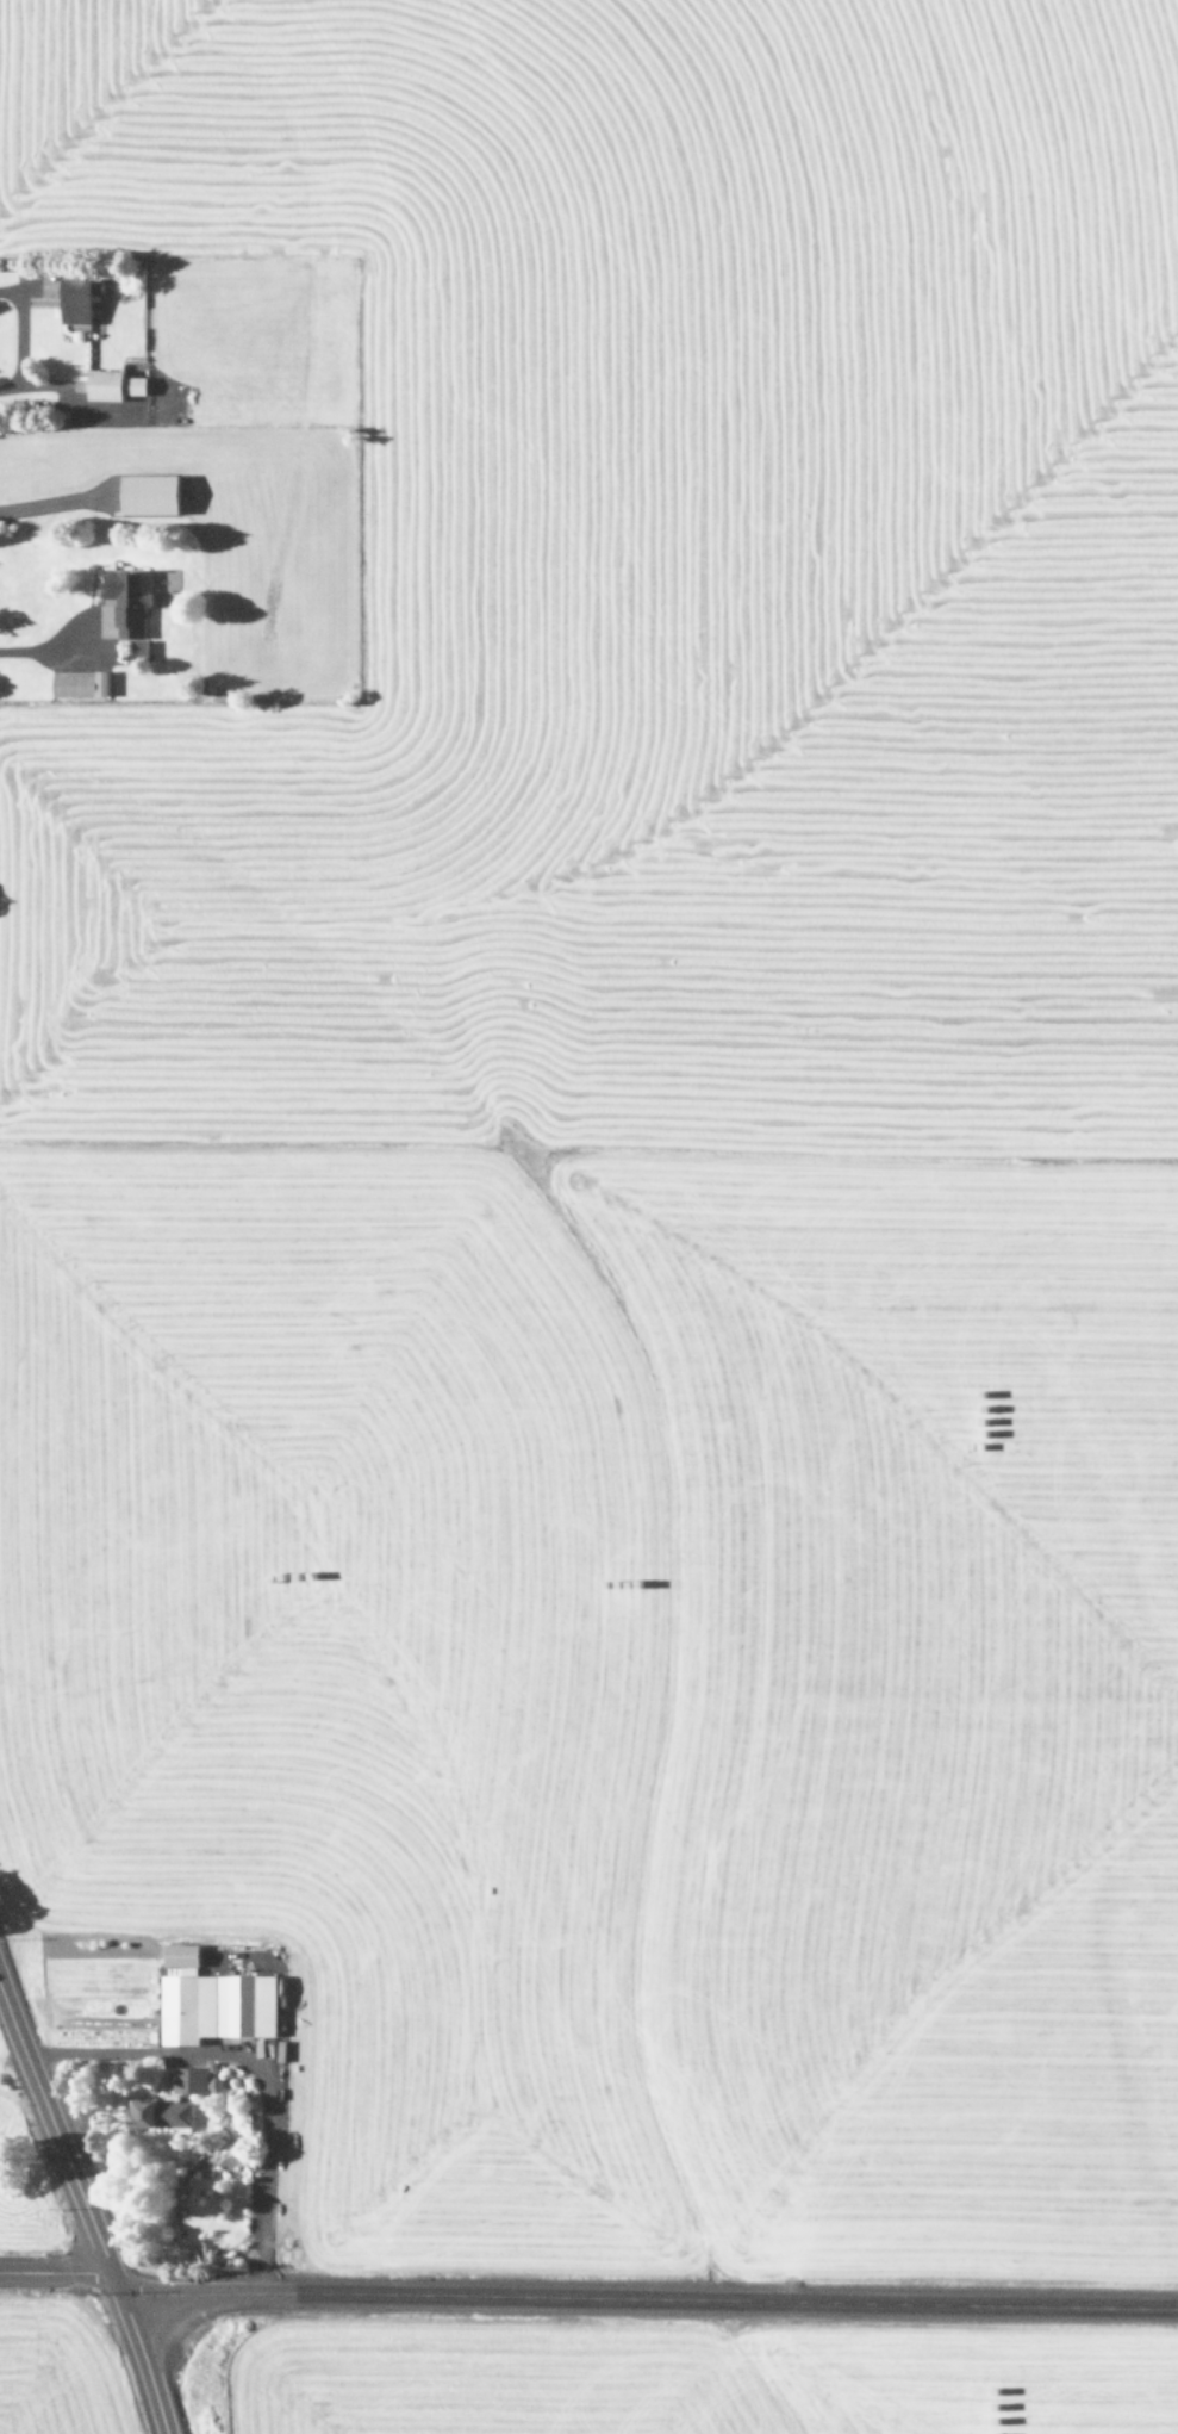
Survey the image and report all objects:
building: (77, 302)
building: (116, 385)
building: (151, 495)
building: (126, 607)
building: (81, 684)
crop: (605, 1104)
building: (218, 2007)
road: (83, 2217)
road: (587, 2298)
crop: (38, 2314)
crop: (692, 2382)

